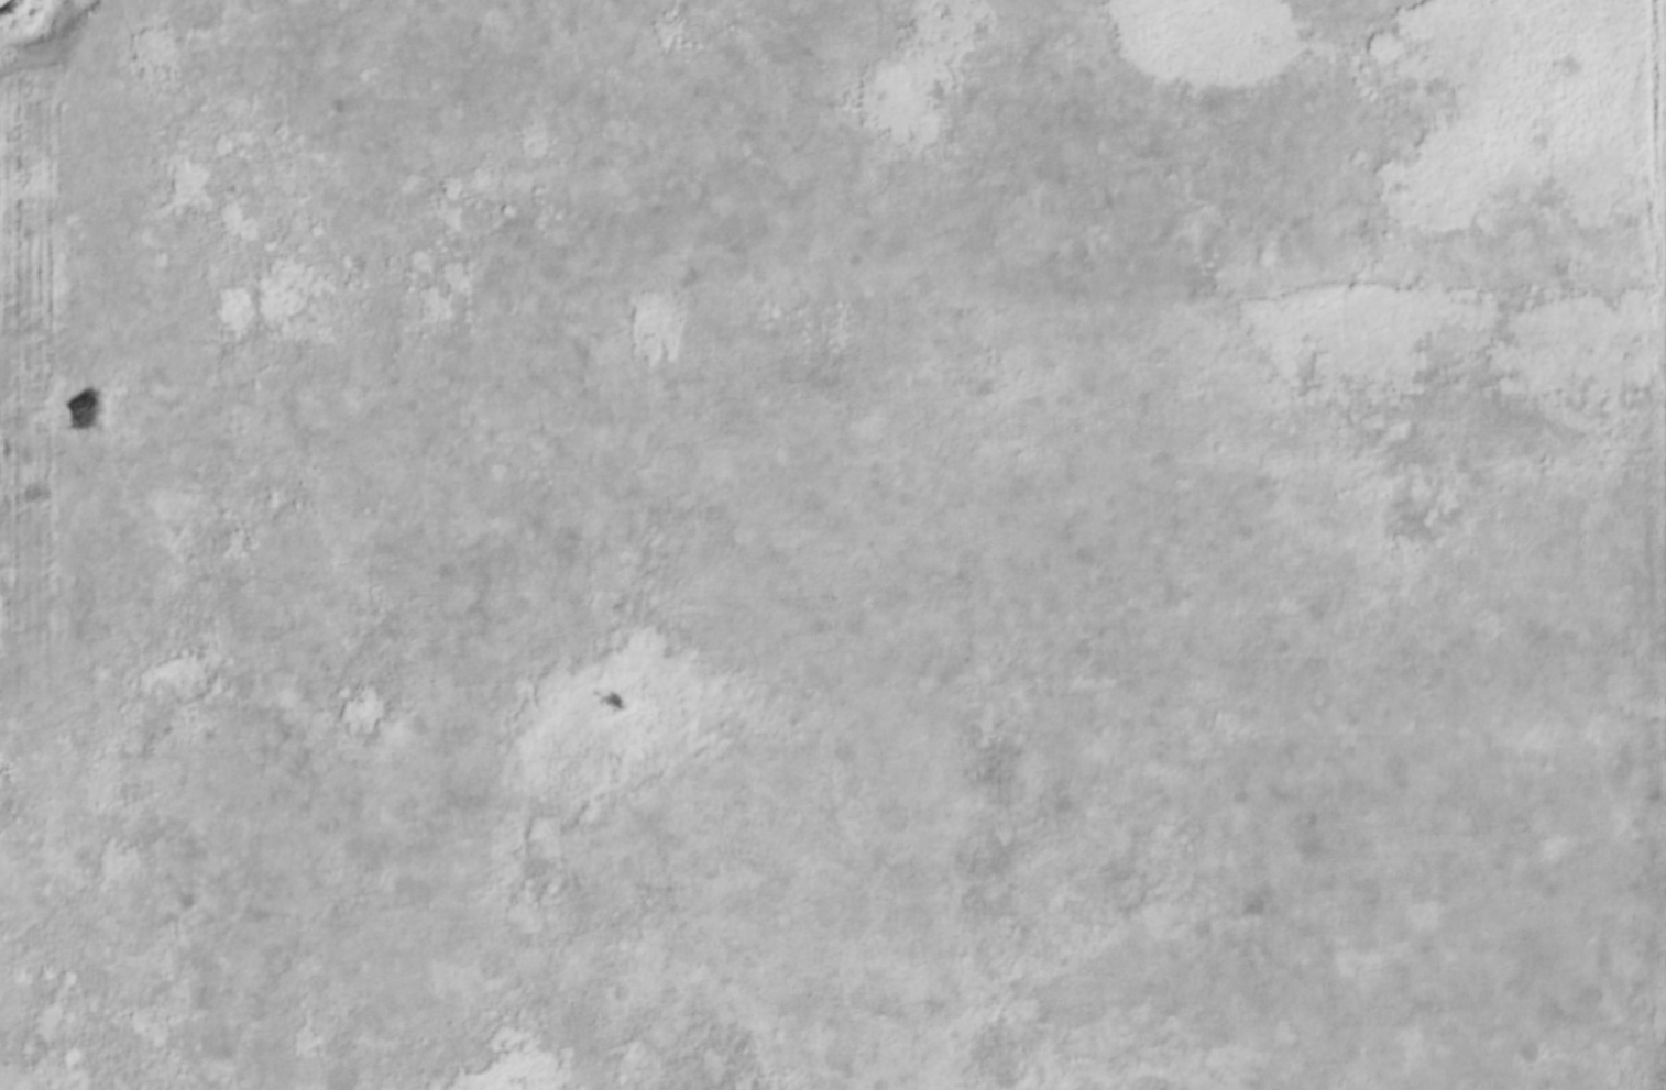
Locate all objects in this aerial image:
road: (1664, 43)

